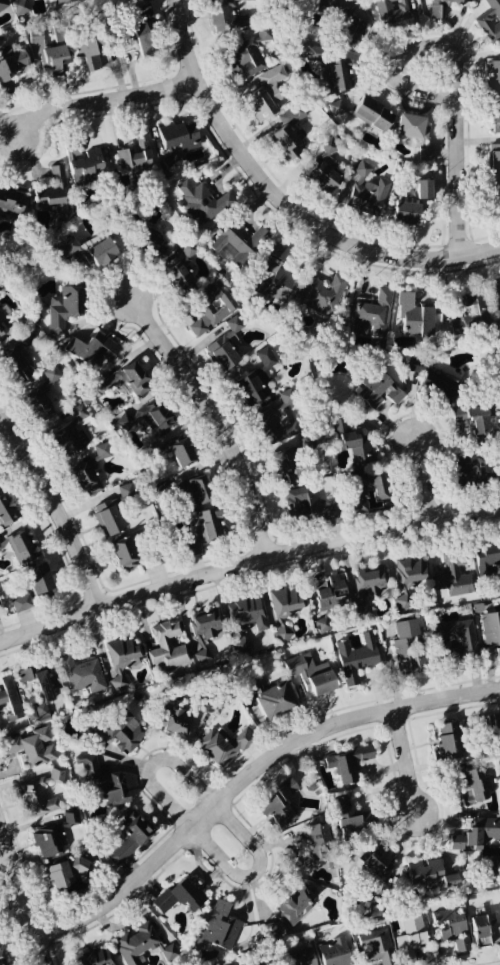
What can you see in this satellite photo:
building: (143, 0)
building: (63, 2)
building: (3, 4)
building: (22, 7)
building: (391, 11)
building: (434, 13)
building: (344, 20)
building: (490, 21)
building: (144, 36)
building: (259, 39)
building: (51, 50)
building: (87, 50)
building: (316, 53)
building: (11, 66)
building: (340, 76)
road: (456, 76)
building: (493, 76)
building: (266, 93)
road: (101, 101)
building: (337, 107)
building: (372, 114)
building: (495, 116)
building: (411, 127)
building: (288, 134)
building: (178, 139)
building: (426, 153)
building: (136, 154)
building: (494, 159)
building: (83, 165)
building: (326, 167)
building: (423, 189)
building: (367, 191)
building: (53, 193)
building: (494, 196)
road: (283, 201)
building: (11, 203)
building: (201, 203)
building: (406, 214)
building: (148, 244)
building: (238, 244)
building: (188, 248)
building: (89, 249)
building: (177, 271)
building: (275, 276)
building: (321, 296)
building: (496, 298)
building: (63, 309)
building: (211, 311)
building: (469, 313)
building: (1, 315)
building: (373, 316)
building: (415, 317)
building: (2, 329)
building: (225, 346)
building: (93, 351)
building: (15, 363)
building: (257, 378)
building: (125, 382)
building: (434, 384)
building: (377, 390)
road: (215, 416)
building: (157, 418)
building: (474, 419)
building: (278, 420)
building: (125, 422)
building: (71, 433)
building: (353, 443)
building: (103, 451)
building: (181, 452)
building: (285, 468)
building: (473, 468)
road: (424, 476)
building: (86, 480)
building: (195, 492)
building: (358, 493)
building: (305, 504)
road: (58, 507)
building: (7, 511)
building: (107, 518)
building: (203, 532)
building: (21, 547)
building: (123, 554)
building: (487, 559)
road: (246, 564)
building: (412, 571)
building: (454, 576)
building: (39, 579)
building: (371, 579)
building: (330, 593)
building: (22, 603)
building: (286, 607)
building: (362, 611)
building: (245, 620)
building: (204, 631)
building: (491, 635)
building: (455, 640)
building: (167, 645)
building: (407, 648)
building: (356, 659)
building: (121, 661)
building: (82, 675)
building: (310, 676)
building: (14, 692)
building: (273, 700)
building: (38, 713)
building: (0, 714)
building: (173, 720)
building: (496, 720)
building: (1, 727)
building: (123, 731)
building: (449, 741)
building: (223, 746)
building: (32, 747)
road: (406, 762)
building: (348, 763)
road: (150, 767)
building: (57, 775)
road: (249, 778)
building: (104, 781)
building: (36, 798)
building: (278, 803)
building: (347, 820)
building: (481, 831)
building: (129, 838)
building: (315, 842)
building: (457, 842)
building: (46, 843)
building: (376, 863)
building: (82, 867)
road: (253, 873)
building: (59, 876)
building: (428, 876)
building: (180, 896)
road: (22, 897)
building: (296, 905)
building: (220, 927)
building: (453, 929)
building: (271, 930)
building: (482, 930)
building: (410, 940)
building: (136, 944)
building: (377, 947)
building: (169, 952)
building: (334, 953)
building: (96, 957)
building: (3, 958)
building: (299, 958)
building: (259, 963)

